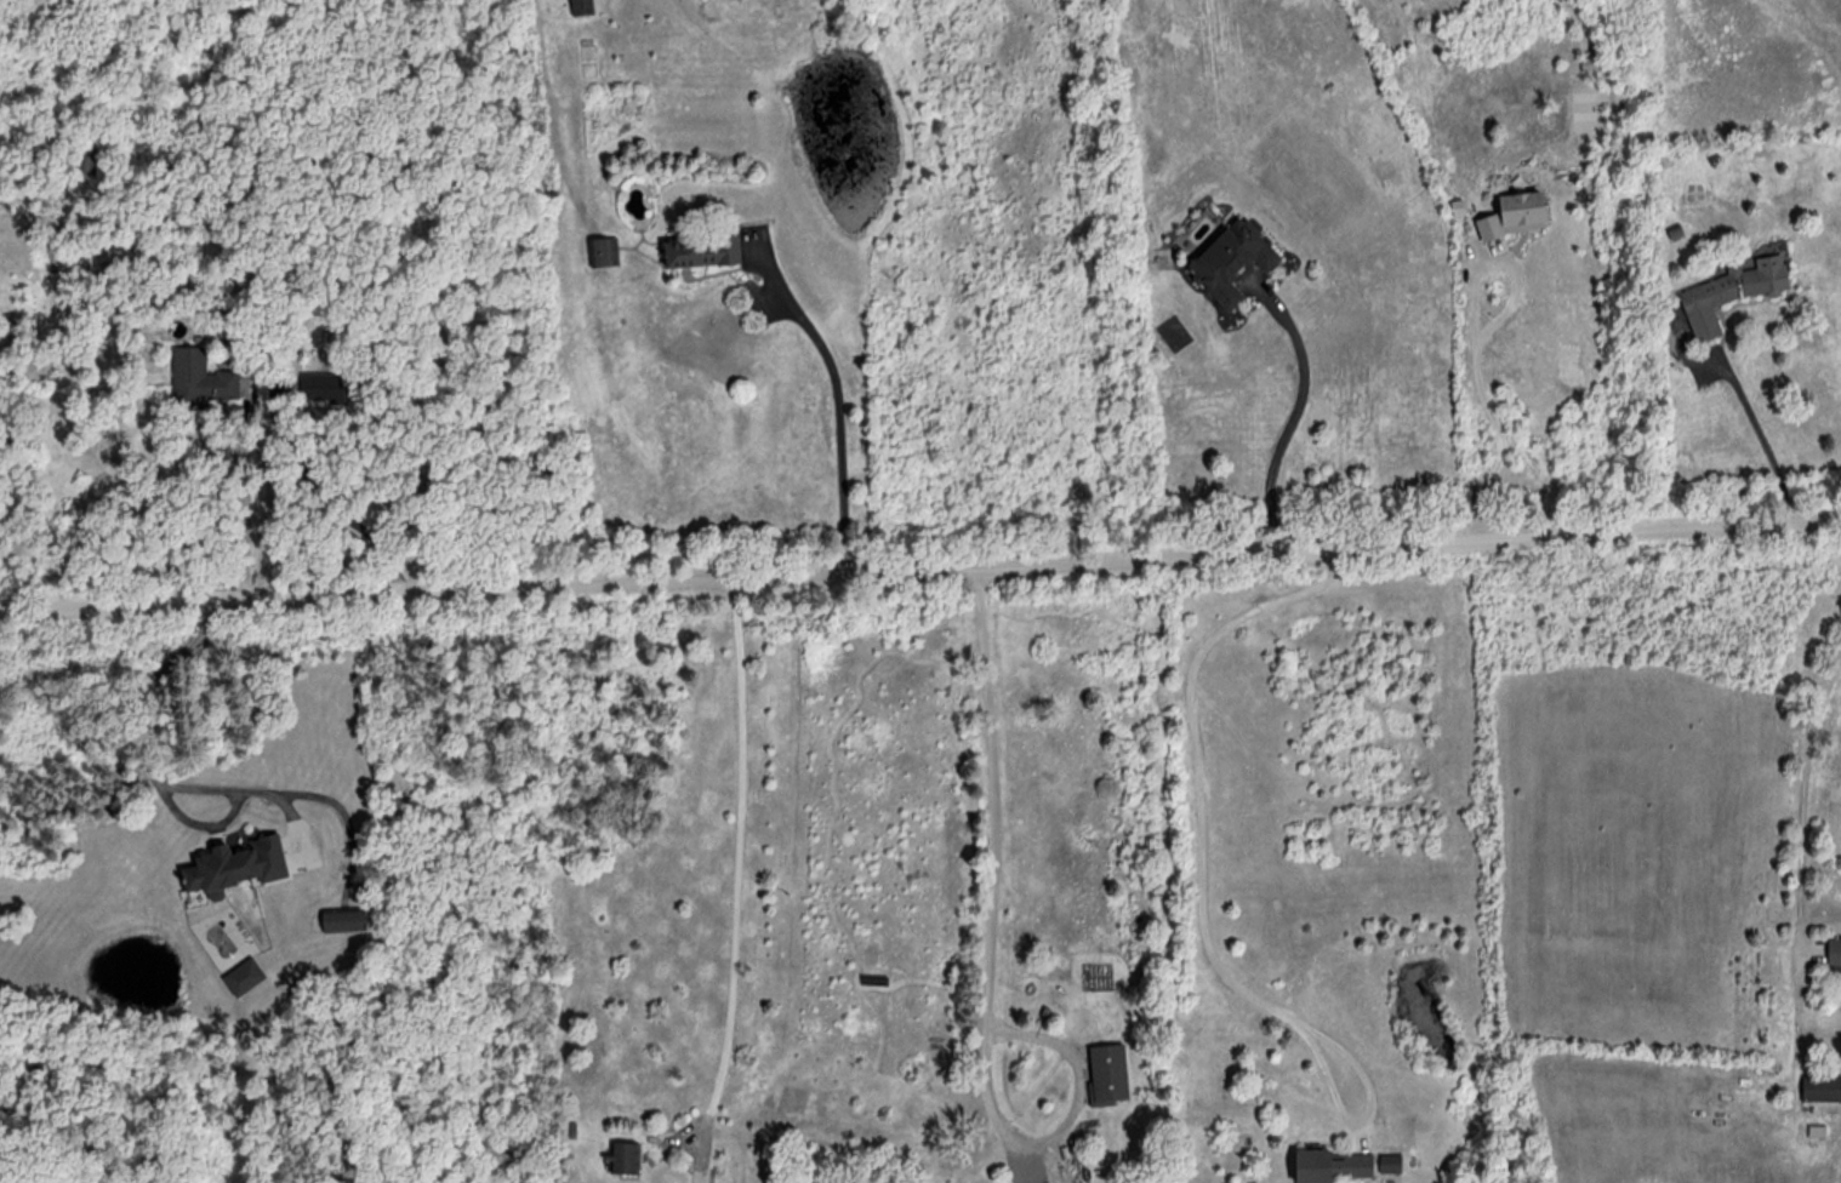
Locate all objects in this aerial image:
building: (583, 7)
building: (1521, 216)
building: (608, 253)
building: (706, 253)
building: (1235, 262)
building: (1735, 293)
road: (1476, 348)
building: (203, 379)
building: (336, 387)
road: (1296, 410)
road: (839, 419)
road: (1759, 433)
road: (327, 501)
road: (247, 508)
road: (920, 571)
road: (199, 789)
road: (199, 823)
road: (293, 825)
building: (236, 864)
road: (1802, 871)
road: (737, 881)
road: (1203, 899)
building: (346, 920)
road: (1813, 949)
building: (1836, 950)
road: (990, 973)
building: (246, 976)
building: (1110, 1074)
building: (1823, 1087)
building: (1819, 1132)
road: (1366, 1137)
road: (678, 1141)
building: (625, 1156)
building: (1072, 1161)
building: (1392, 1162)
building: (1333, 1165)
building: (1047, 1177)

